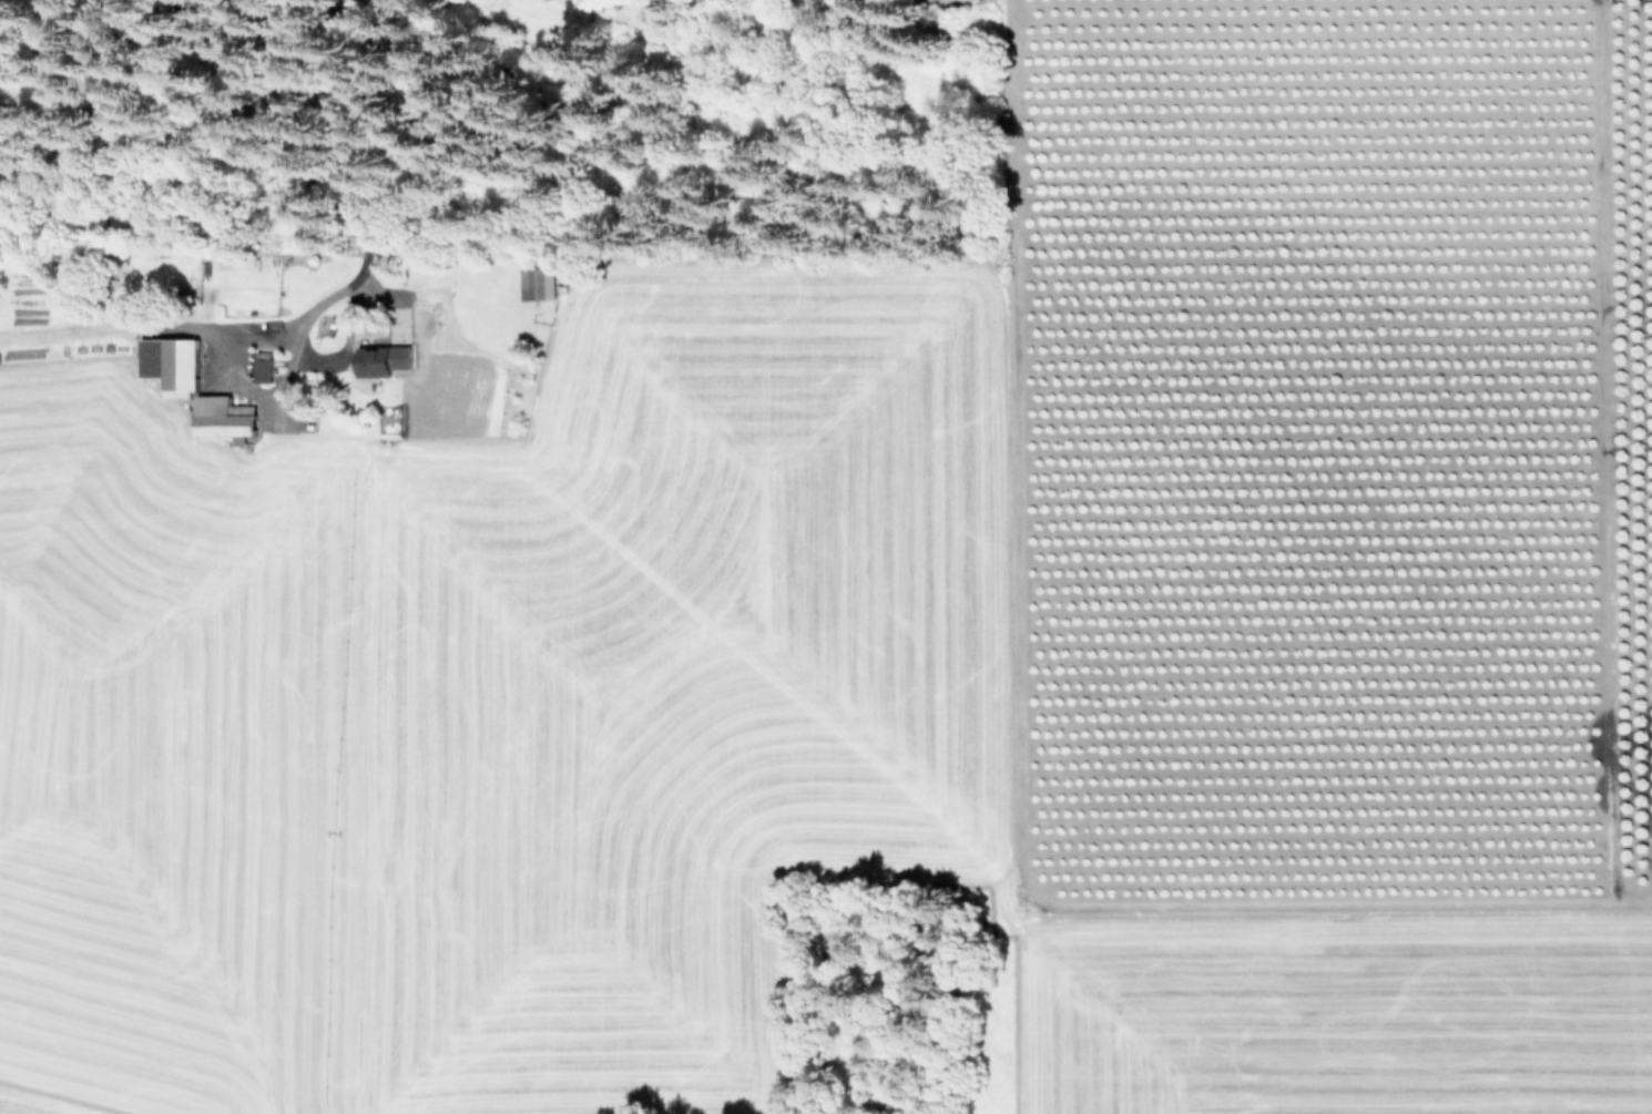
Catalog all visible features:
road: (364, 186)
building: (523, 289)
building: (171, 364)
building: (263, 370)
building: (224, 417)
crop: (889, 612)

